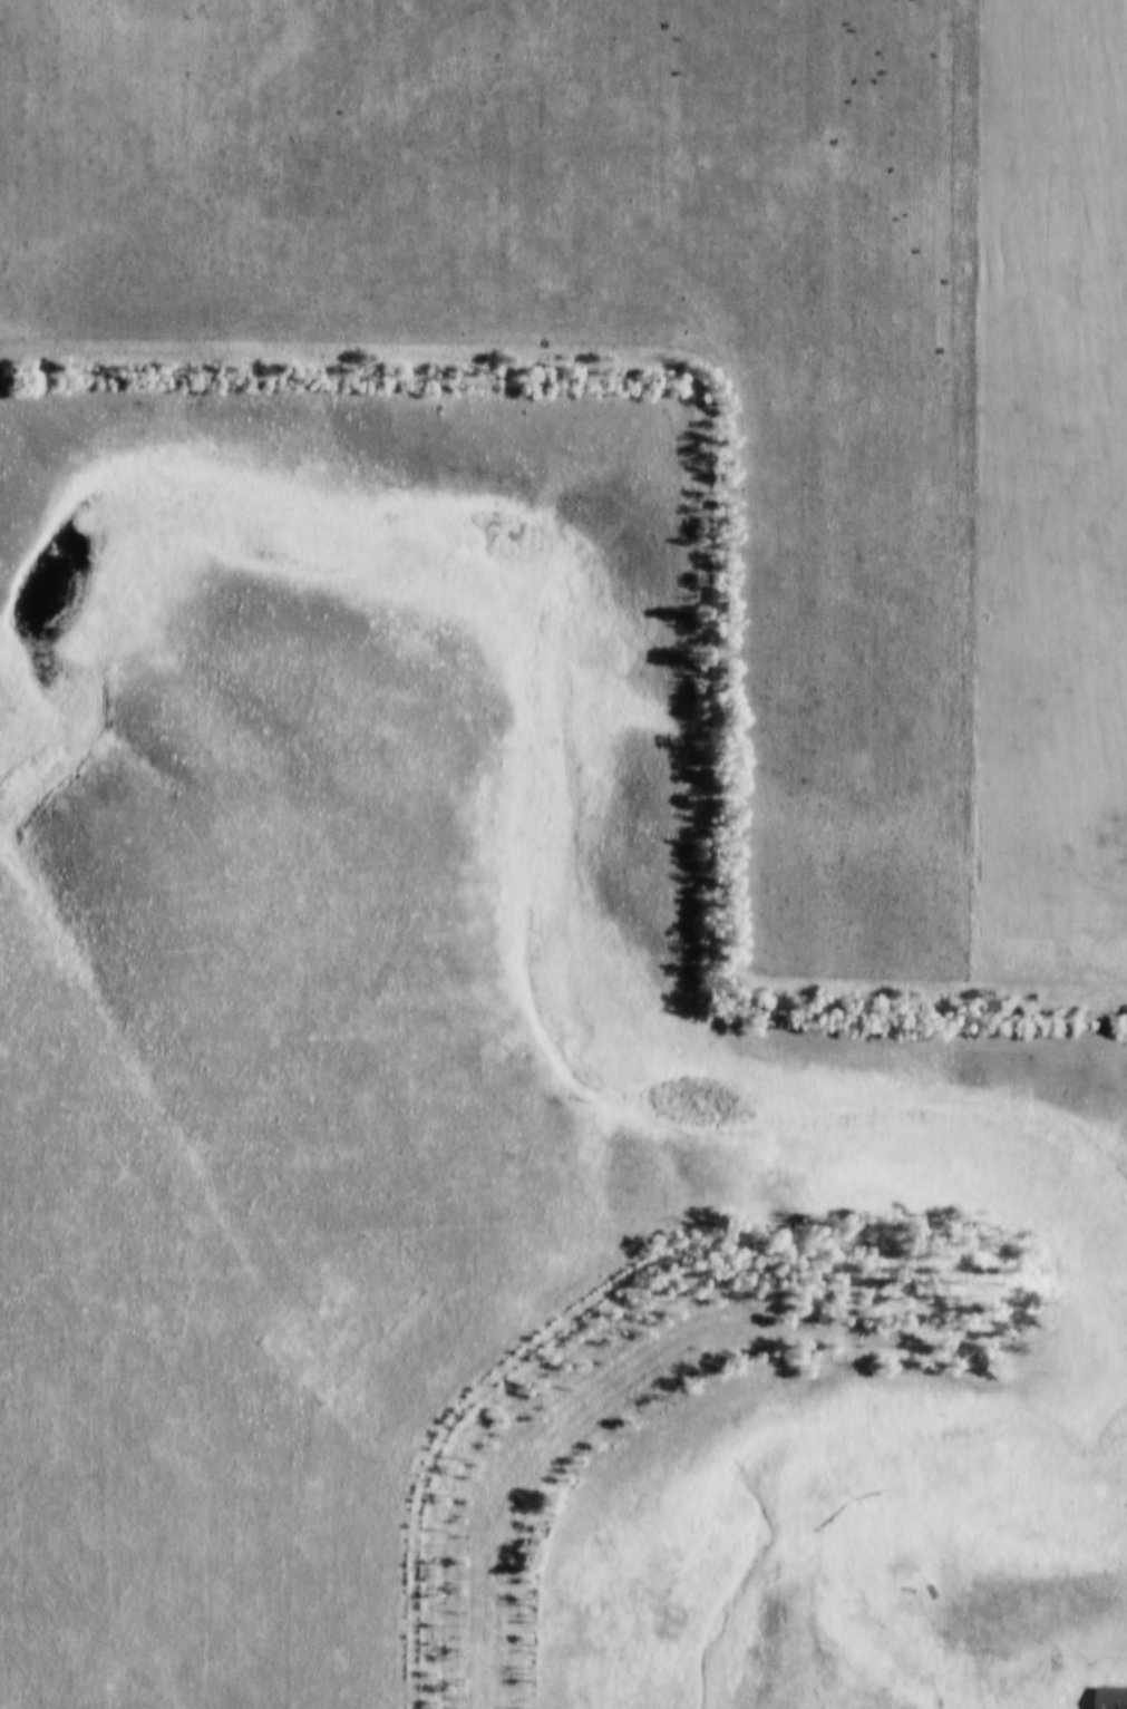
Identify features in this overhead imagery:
building: (1109, 1691)

